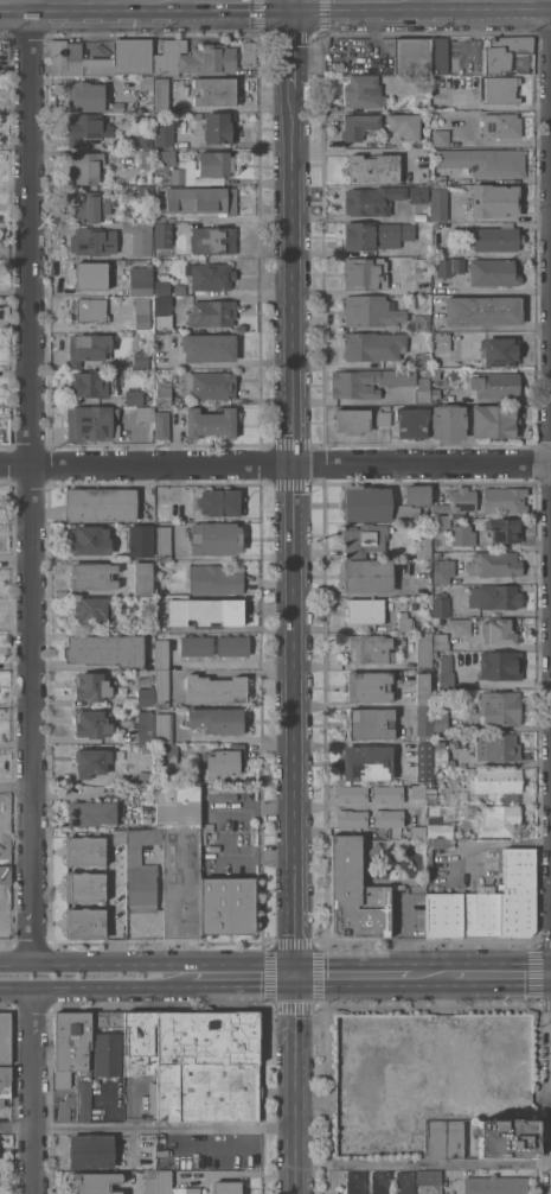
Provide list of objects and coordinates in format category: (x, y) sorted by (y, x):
road: (91, 0)
road: (238, 0)
traffic signals: (294, 0)
road: (294, 43)
building: (248, 52)
building: (506, 55)
building: (411, 56)
building: (194, 58)
building: (443, 58)
building: (103, 59)
building: (338, 66)
building: (146, 83)
building: (213, 90)
building: (500, 90)
building: (363, 91)
building: (161, 93)
building: (88, 95)
building: (197, 115)
building: (404, 125)
building: (501, 125)
building: (359, 126)
building: (87, 127)
building: (219, 127)
building: (164, 132)
building: (146, 133)
building: (441, 138)
building: (145, 158)
building: (165, 160)
building: (485, 161)
building: (214, 163)
building: (84, 166)
building: (373, 167)
building: (180, 173)
building: (158, 179)
building: (146, 190)
building: (419, 193)
building: (372, 199)
building: (494, 201)
building: (200, 202)
building: (438, 204)
building: (91, 207)
road: (254, 220)
building: (435, 226)
building: (162, 234)
building: (376, 235)
building: (140, 236)
building: (495, 239)
building: (212, 240)
building: (94, 241)
building: (449, 266)
building: (422, 269)
building: (493, 272)
building: (365, 273)
building: (89, 274)
building: (210, 275)
building: (141, 279)
building: (161, 286)
building: (179, 290)
building: (164, 305)
building: (90, 310)
building: (371, 310)
building: (482, 310)
building: (142, 312)
building: (212, 313)
building: (422, 322)
road: (496, 331)
building: (441, 341)
building: (373, 345)
building: (89, 347)
building: (209, 347)
building: (500, 351)
building: (140, 358)
building: (422, 358)
building: (427, 371)
building: (436, 374)
building: (369, 381)
building: (89, 382)
building: (210, 385)
building: (494, 385)
building: (422, 390)
building: (162, 393)
building: (134, 396)
building: (148, 398)
building: (145, 413)
building: (383, 418)
building: (352, 420)
building: (495, 420)
building: (89, 421)
building: (449, 421)
building: (211, 423)
building: (411, 423)
building: (161, 424)
road: (275, 464)
road: (32, 481)
building: (417, 495)
building: (462, 498)
building: (504, 500)
building: (219, 502)
building: (366, 503)
building: (101, 504)
building: (162, 512)
building: (406, 513)
building: (441, 517)
building: (504, 529)
road: (295, 531)
building: (462, 534)
building: (216, 538)
building: (91, 539)
building: (361, 539)
building: (146, 541)
building: (164, 542)
building: (423, 547)
building: (436, 554)
road: (236, 557)
building: (494, 563)
building: (442, 570)
building: (367, 574)
building: (92, 576)
building: (143, 578)
building: (213, 579)
building: (435, 588)
building: (494, 596)
building: (441, 605)
building: (364, 610)
building: (90, 611)
building: (205, 612)
building: (404, 621)
building: (146, 624)
building: (459, 625)
building: (498, 631)
building: (440, 641)
building: (197, 646)
building: (232, 646)
building: (370, 648)
building: (105, 649)
building: (424, 649)
building: (162, 654)
road: (222, 662)
road: (72, 665)
building: (500, 665)
building: (446, 671)
building: (369, 686)
building: (92, 687)
building: (162, 687)
building: (214, 688)
building: (422, 688)
building: (146, 697)
building: (500, 707)
building: (216, 719)
building: (431, 719)
building: (91, 723)
building: (370, 724)
building: (146, 726)
building: (164, 728)
building: (496, 747)
building: (146, 748)
building: (168, 752)
building: (441, 754)
building: (91, 761)
building: (224, 761)
building: (367, 762)
building: (424, 762)
building: (143, 776)
building: (498, 780)
road: (17, 786)
building: (418, 792)
building: (352, 794)
building: (387, 794)
building: (430, 794)
road: (354, 806)
building: (178, 807)
road: (254, 808)
building: (91, 813)
building: (352, 818)
building: (387, 818)
building: (498, 820)
building: (438, 828)
building: (417, 832)
building: (120, 836)
building: (2, 843)
building: (374, 849)
building: (84, 850)
road: (256, 856)
building: (428, 864)
building: (141, 866)
building: (5, 875)
building: (181, 883)
building: (84, 885)
building: (517, 893)
building: (355, 894)
building: (225, 904)
building: (481, 912)
building: (444, 914)
building: (84, 922)
road: (104, 961)
road: (237, 961)
road: (17, 963)
traffic signals: (299, 976)
road: (354, 976)
road: (433, 976)
road: (502, 976)
road: (244, 983)
road: (95, 986)
building: (107, 1022)
building: (518, 1025)
building: (5, 1037)
building: (140, 1043)
building: (70, 1044)
building: (491, 1049)
building: (107, 1054)
building: (461, 1056)
building: (207, 1066)
building: (496, 1074)
building: (518, 1074)
building: (5, 1084)
road: (299, 1085)
road: (36, 1090)
building: (88, 1098)
building: (65, 1107)
building: (447, 1110)
building: (493, 1112)
building: (511, 1112)
road: (148, 1126)
building: (506, 1137)
building: (444, 1138)
building: (91, 1150)
building: (147, 1158)
road: (424, 1164)
building: (429, 1181)
building: (94, 1182)
building: (158, 1182)
building: (354, 1182)
building: (380, 1182)
building: (404, 1182)
building: (495, 1185)
building: (228, 1187)
building: (193, 1190)

